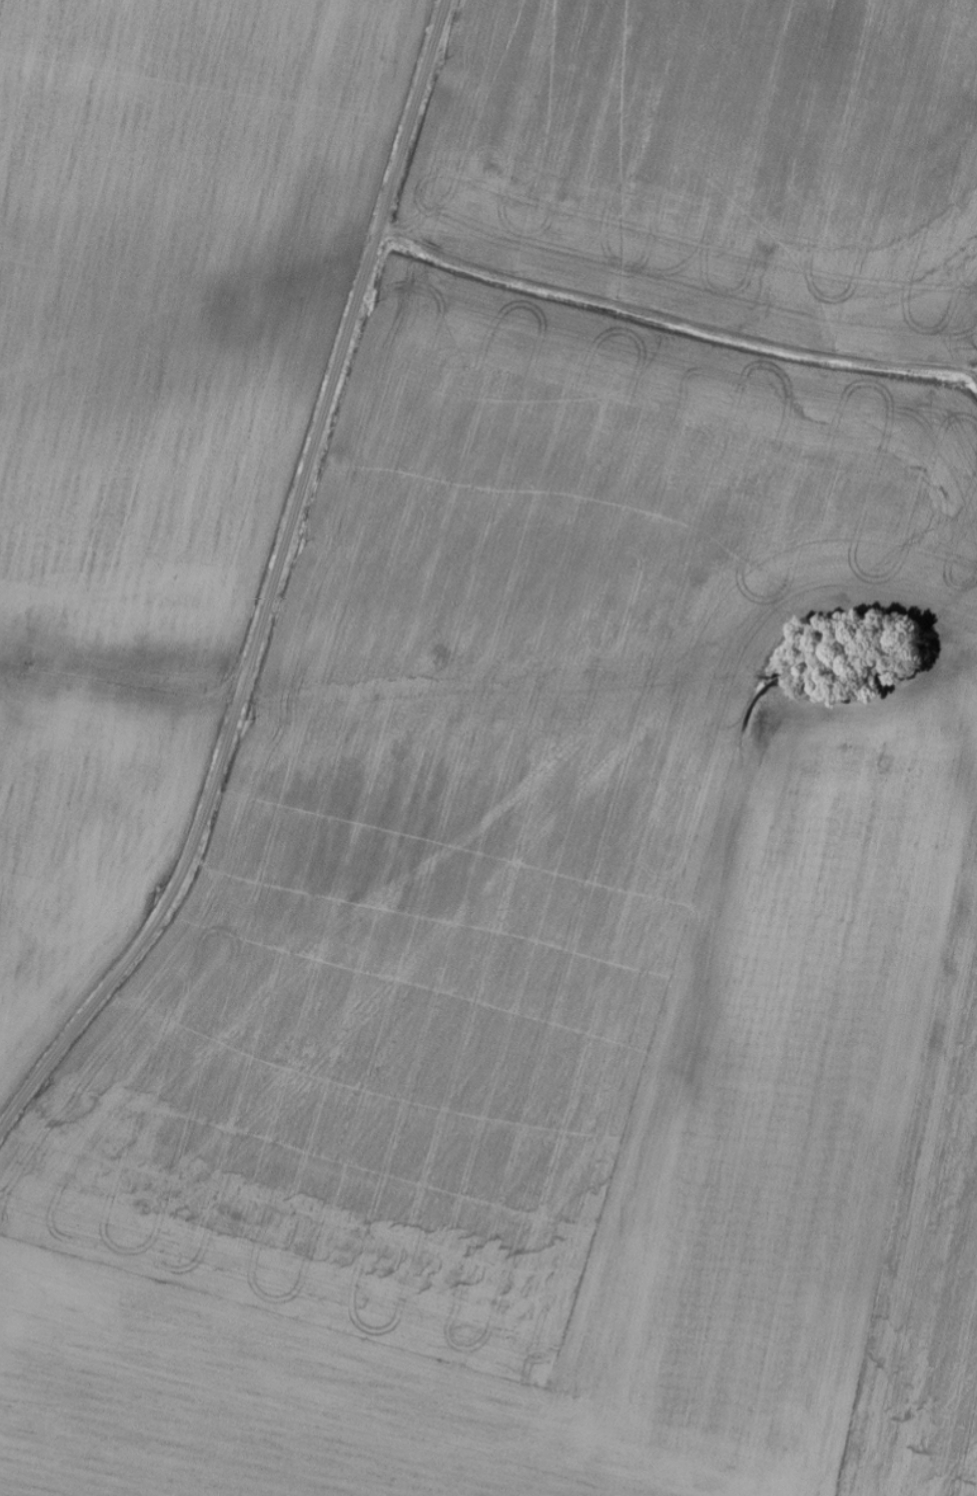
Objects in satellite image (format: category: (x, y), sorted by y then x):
road: (273, 591)

